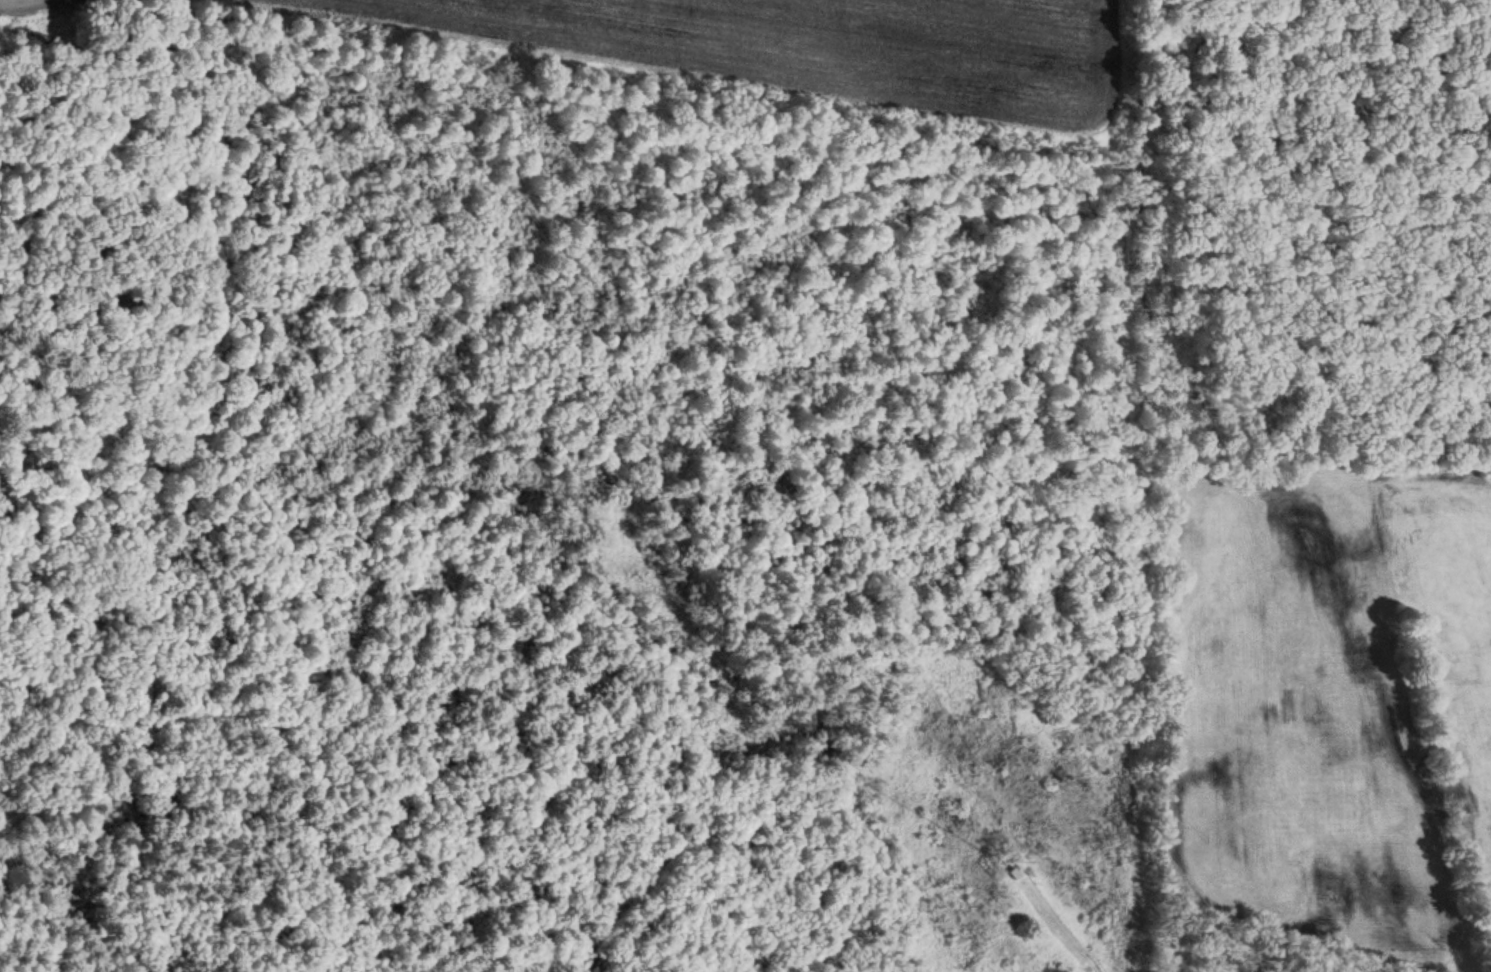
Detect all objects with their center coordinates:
park: (1084, 278)
crop: (1329, 718)

